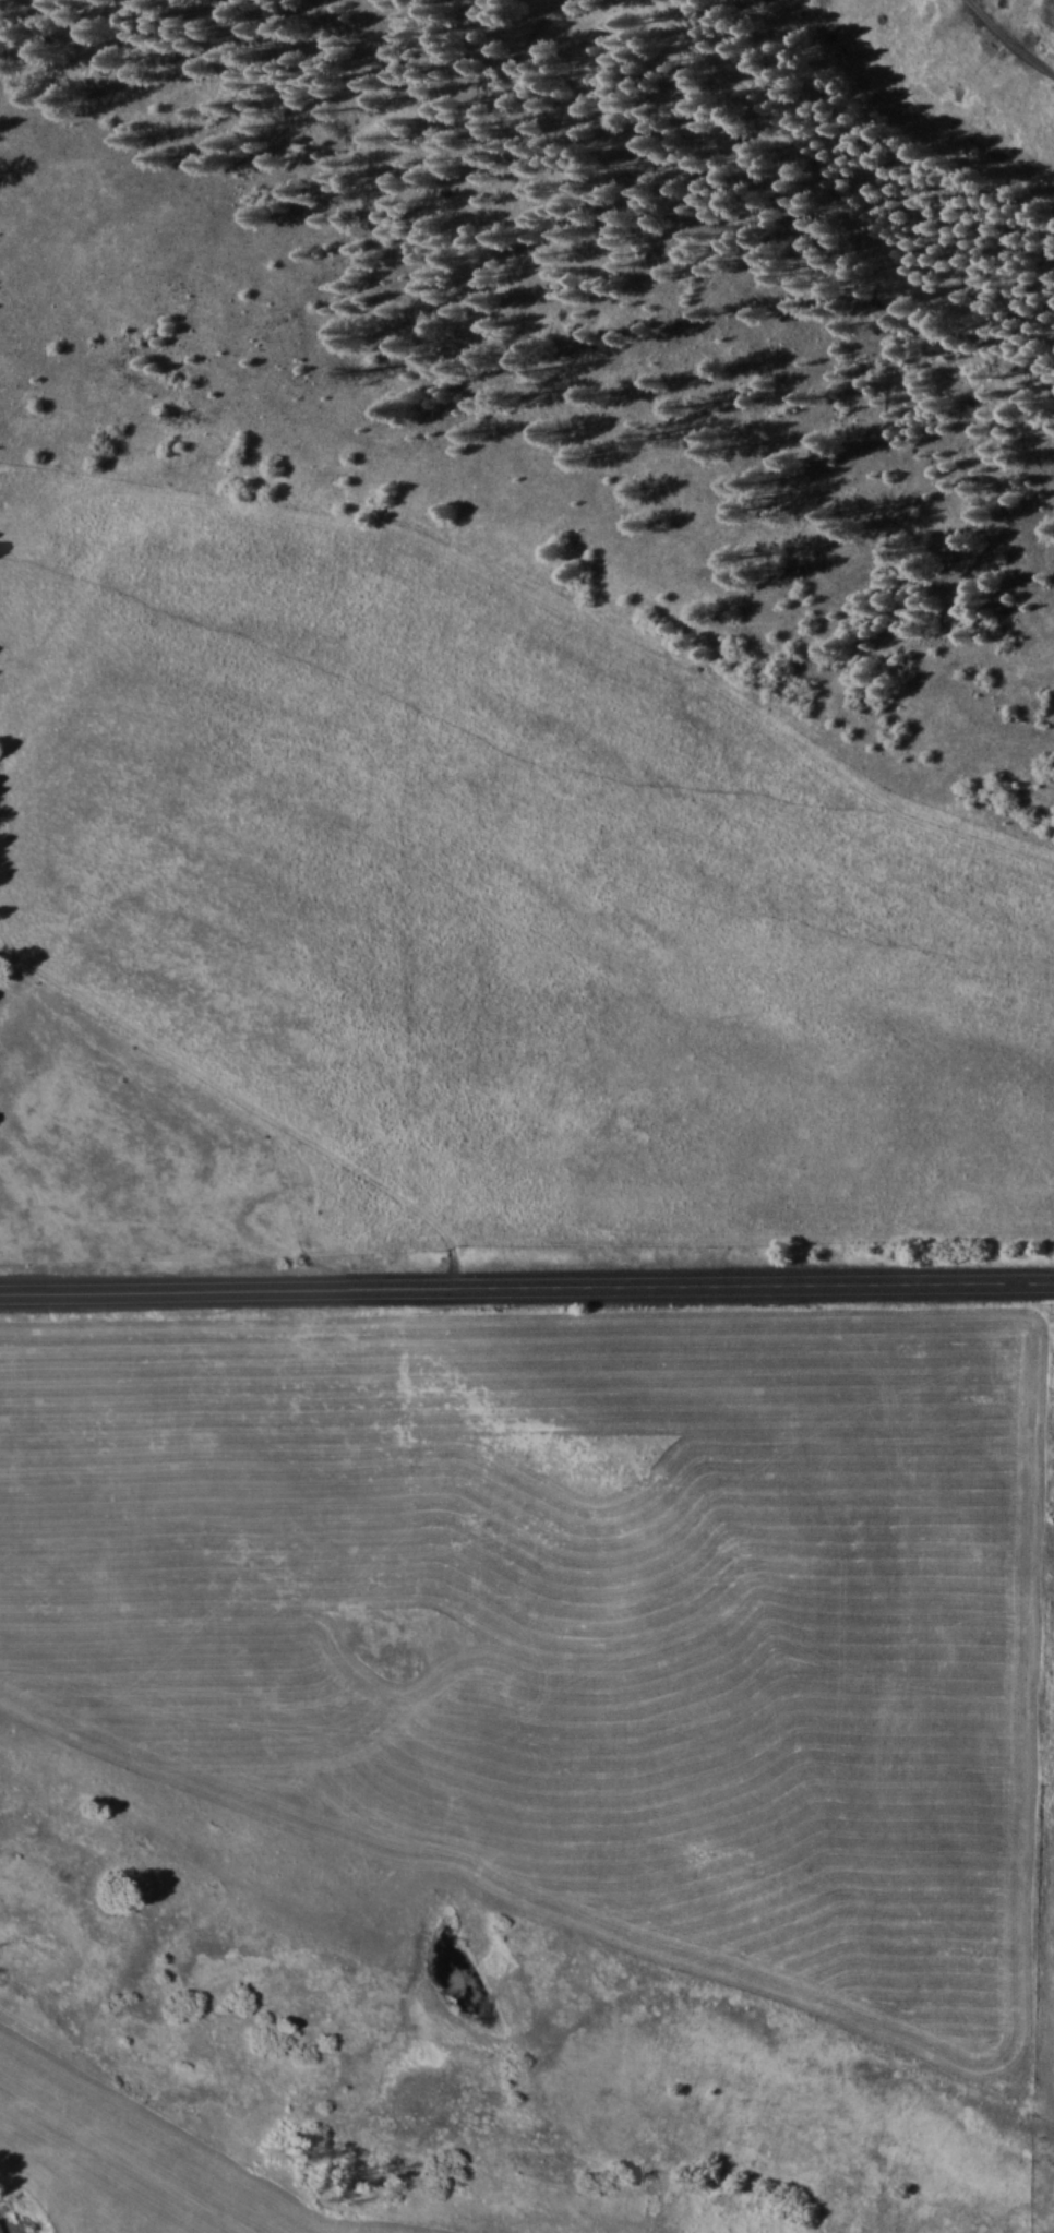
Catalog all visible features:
road: (1008, 41)
road: (526, 1283)

